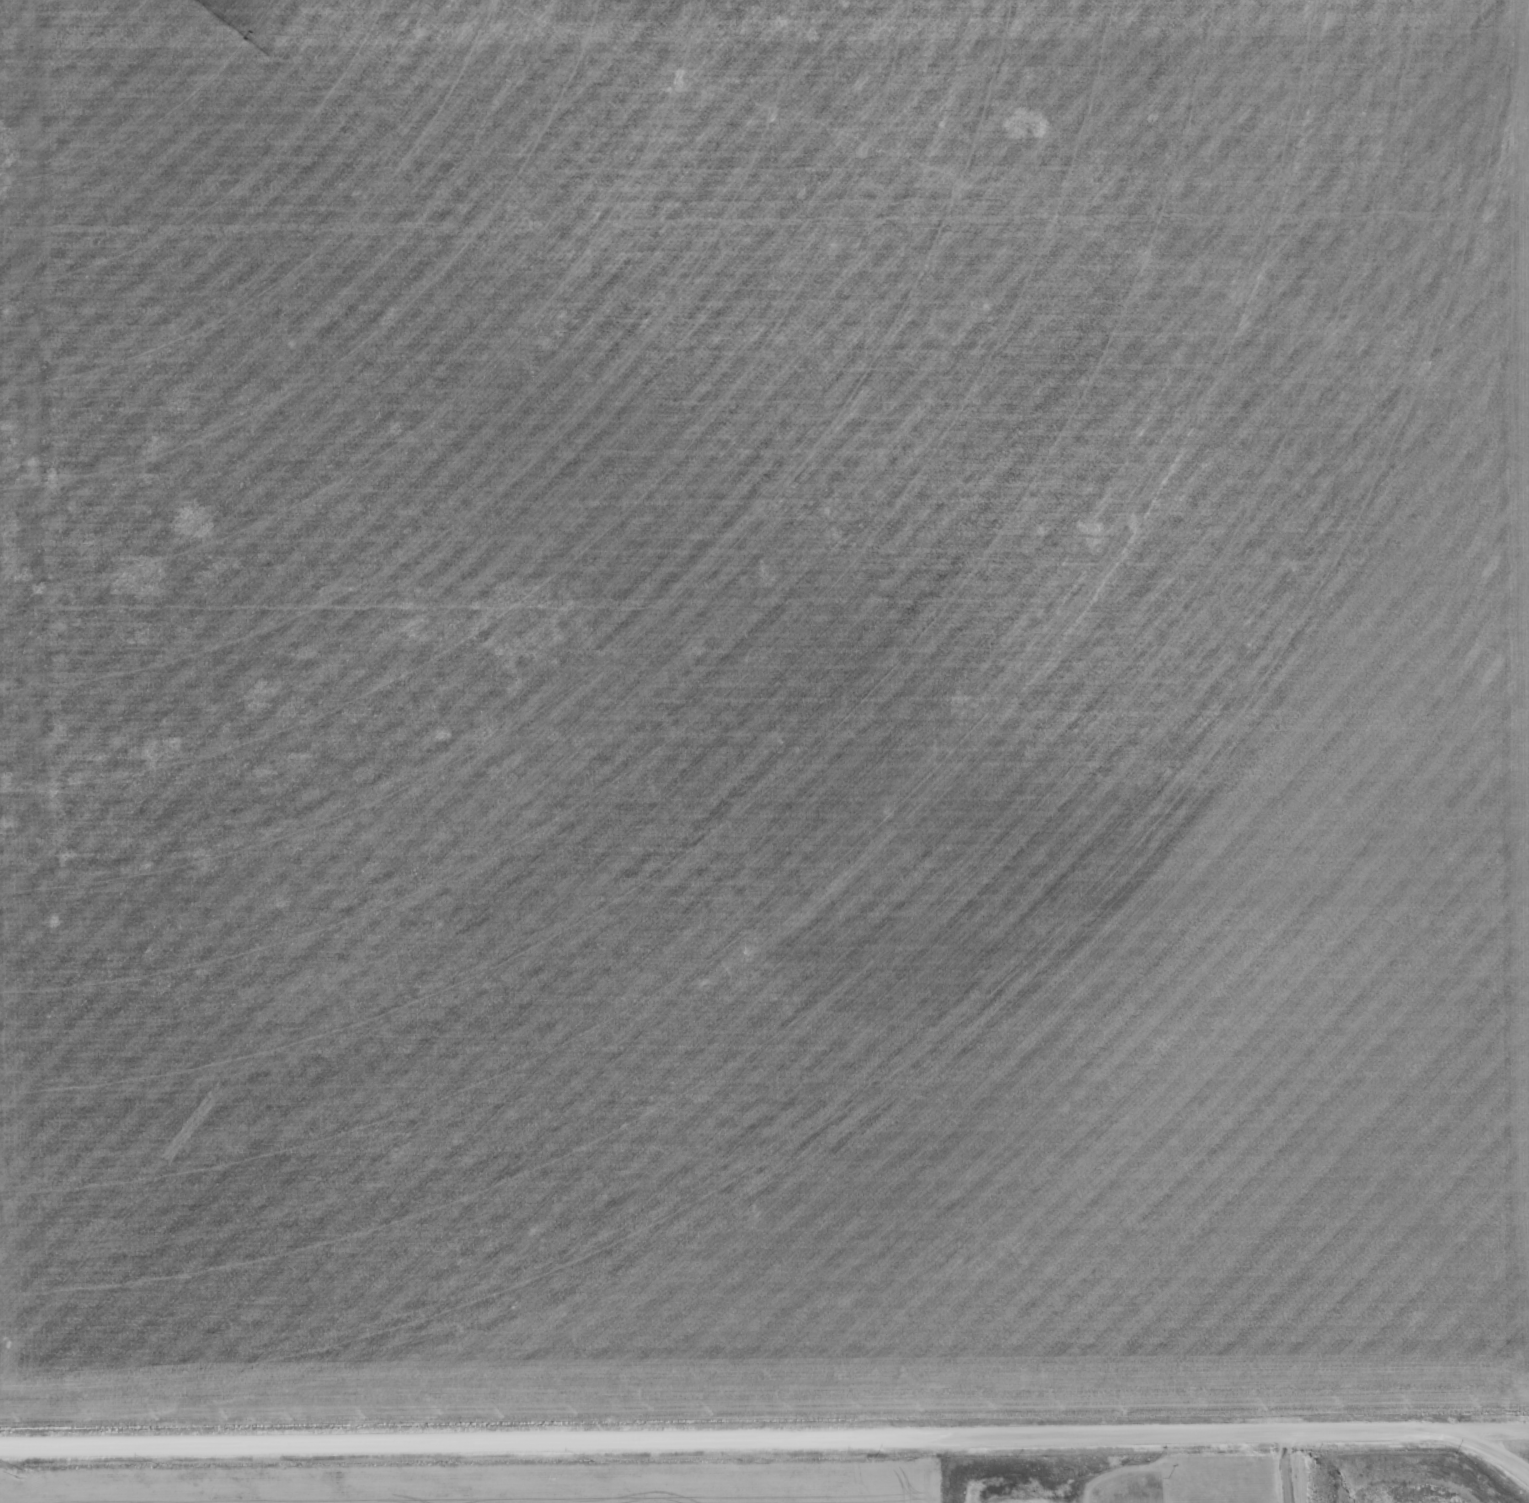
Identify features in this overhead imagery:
road: (1497, 1432)
road: (771, 1438)

